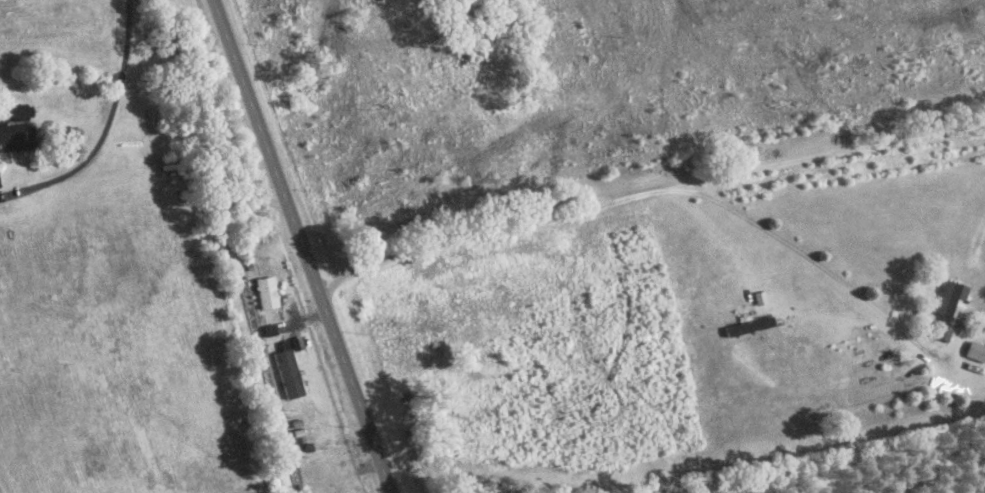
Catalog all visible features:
road: (647, 133)
road: (228, 246)
road: (303, 246)
building: (265, 294)
building: (947, 303)
building: (941, 334)
building: (973, 353)
building: (286, 373)
building: (311, 472)

